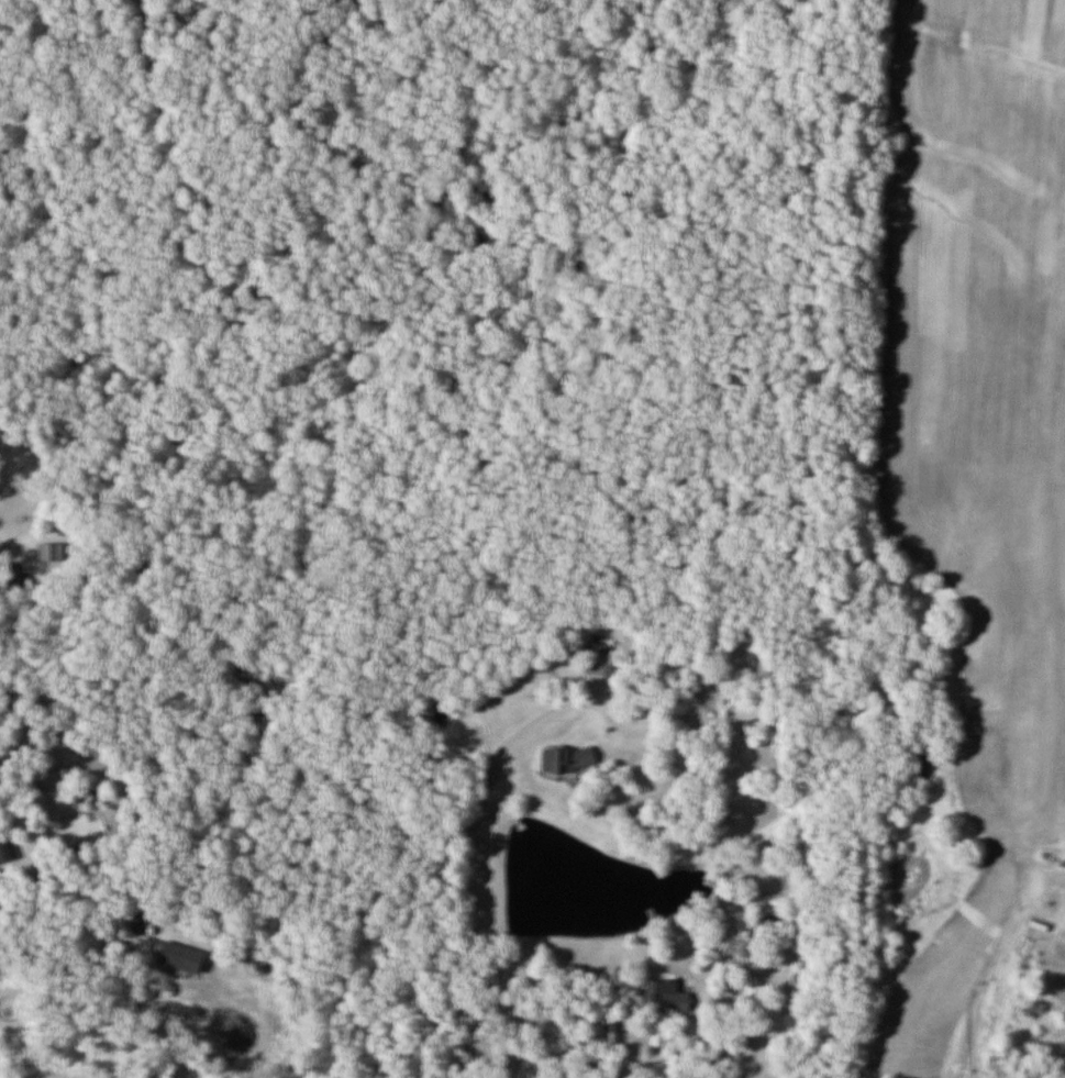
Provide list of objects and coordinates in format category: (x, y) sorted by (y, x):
building: (48, 552)
building: (600, 665)
building: (573, 758)
building: (8, 847)
road: (496, 860)
building: (182, 956)
building: (669, 996)
building: (759, 996)
road: (163, 1014)

